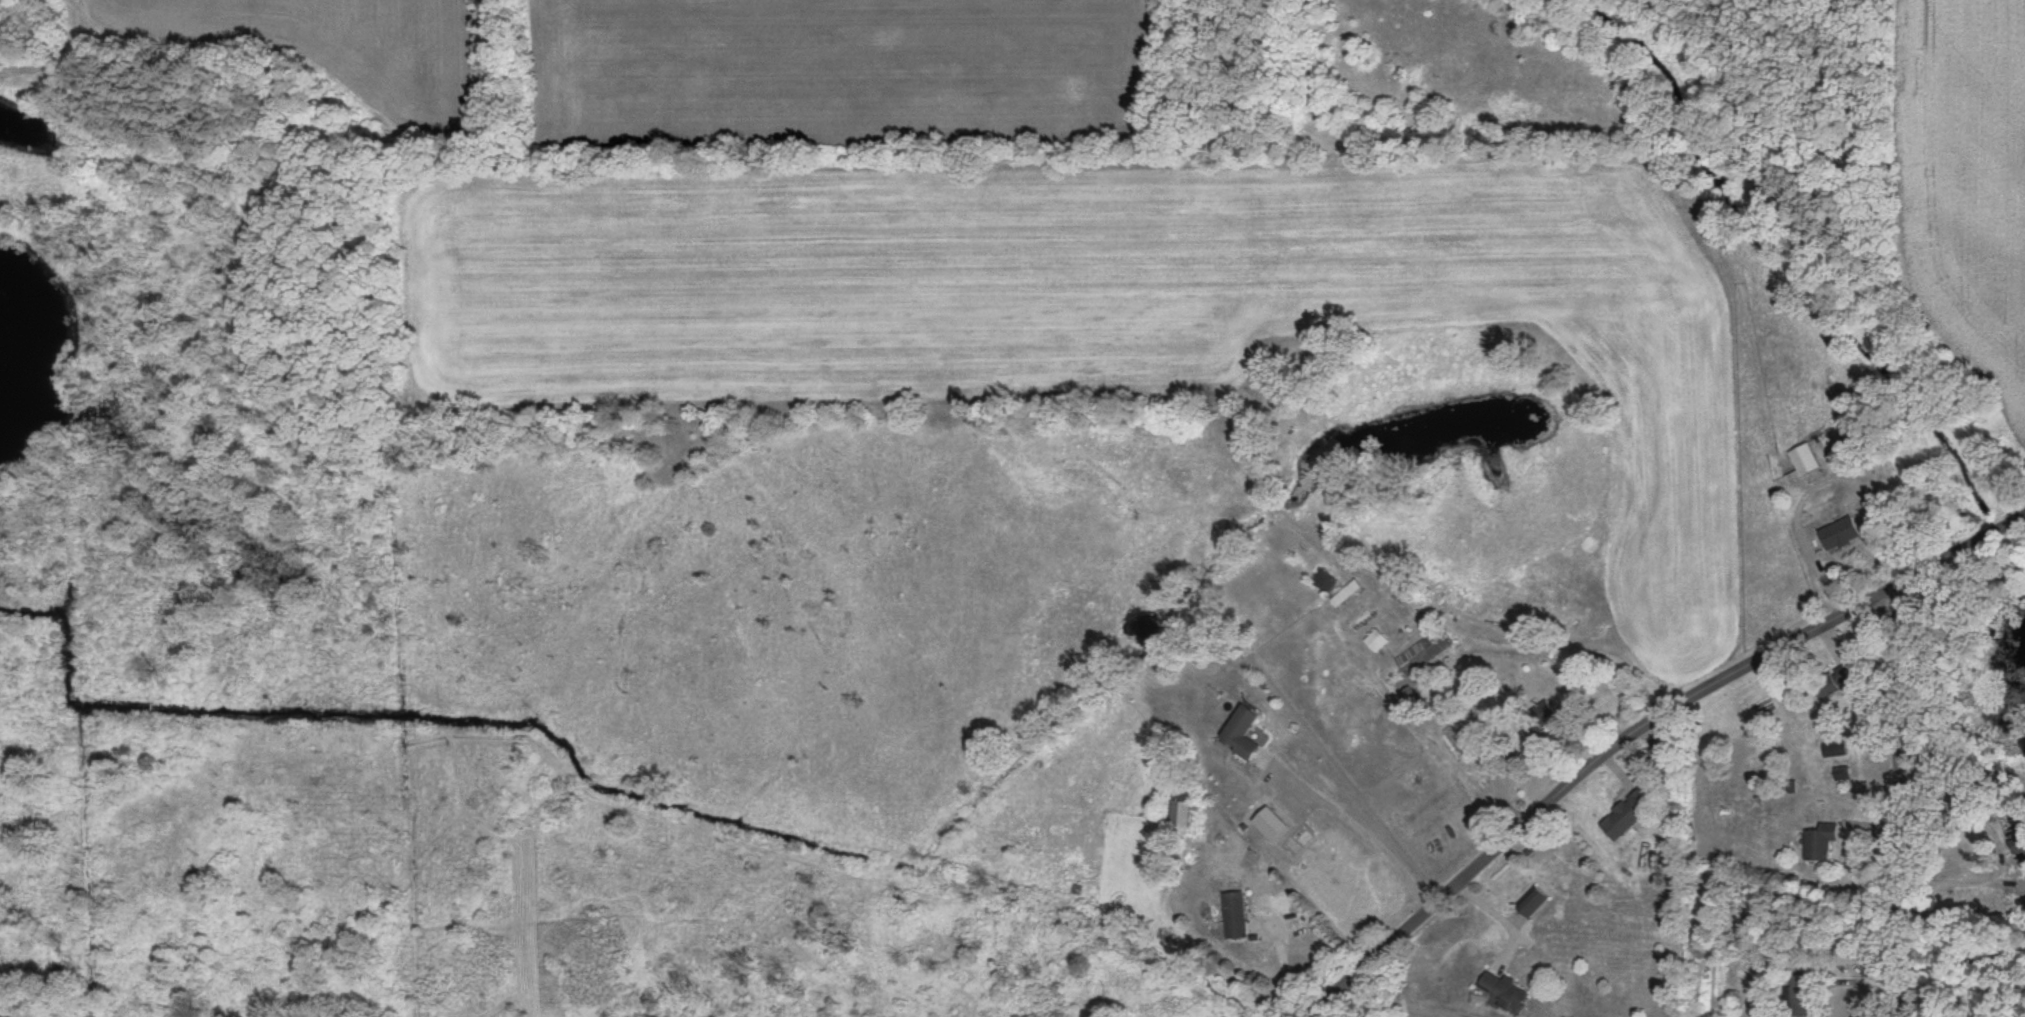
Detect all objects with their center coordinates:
building: (1807, 458)
building: (1844, 533)
building: (1435, 645)
building: (1835, 680)
building: (1546, 714)
road: (1636, 728)
building: (1245, 732)
building: (1835, 748)
building: (1668, 752)
building: (1842, 773)
road: (1899, 802)
building: (1180, 813)
building: (1626, 814)
road: (1360, 829)
building: (2020, 839)
building: (1820, 840)
road: (2002, 844)
building: (1535, 900)
building: (1236, 912)
road: (1964, 959)
building: (1504, 989)
building: (1800, 994)

